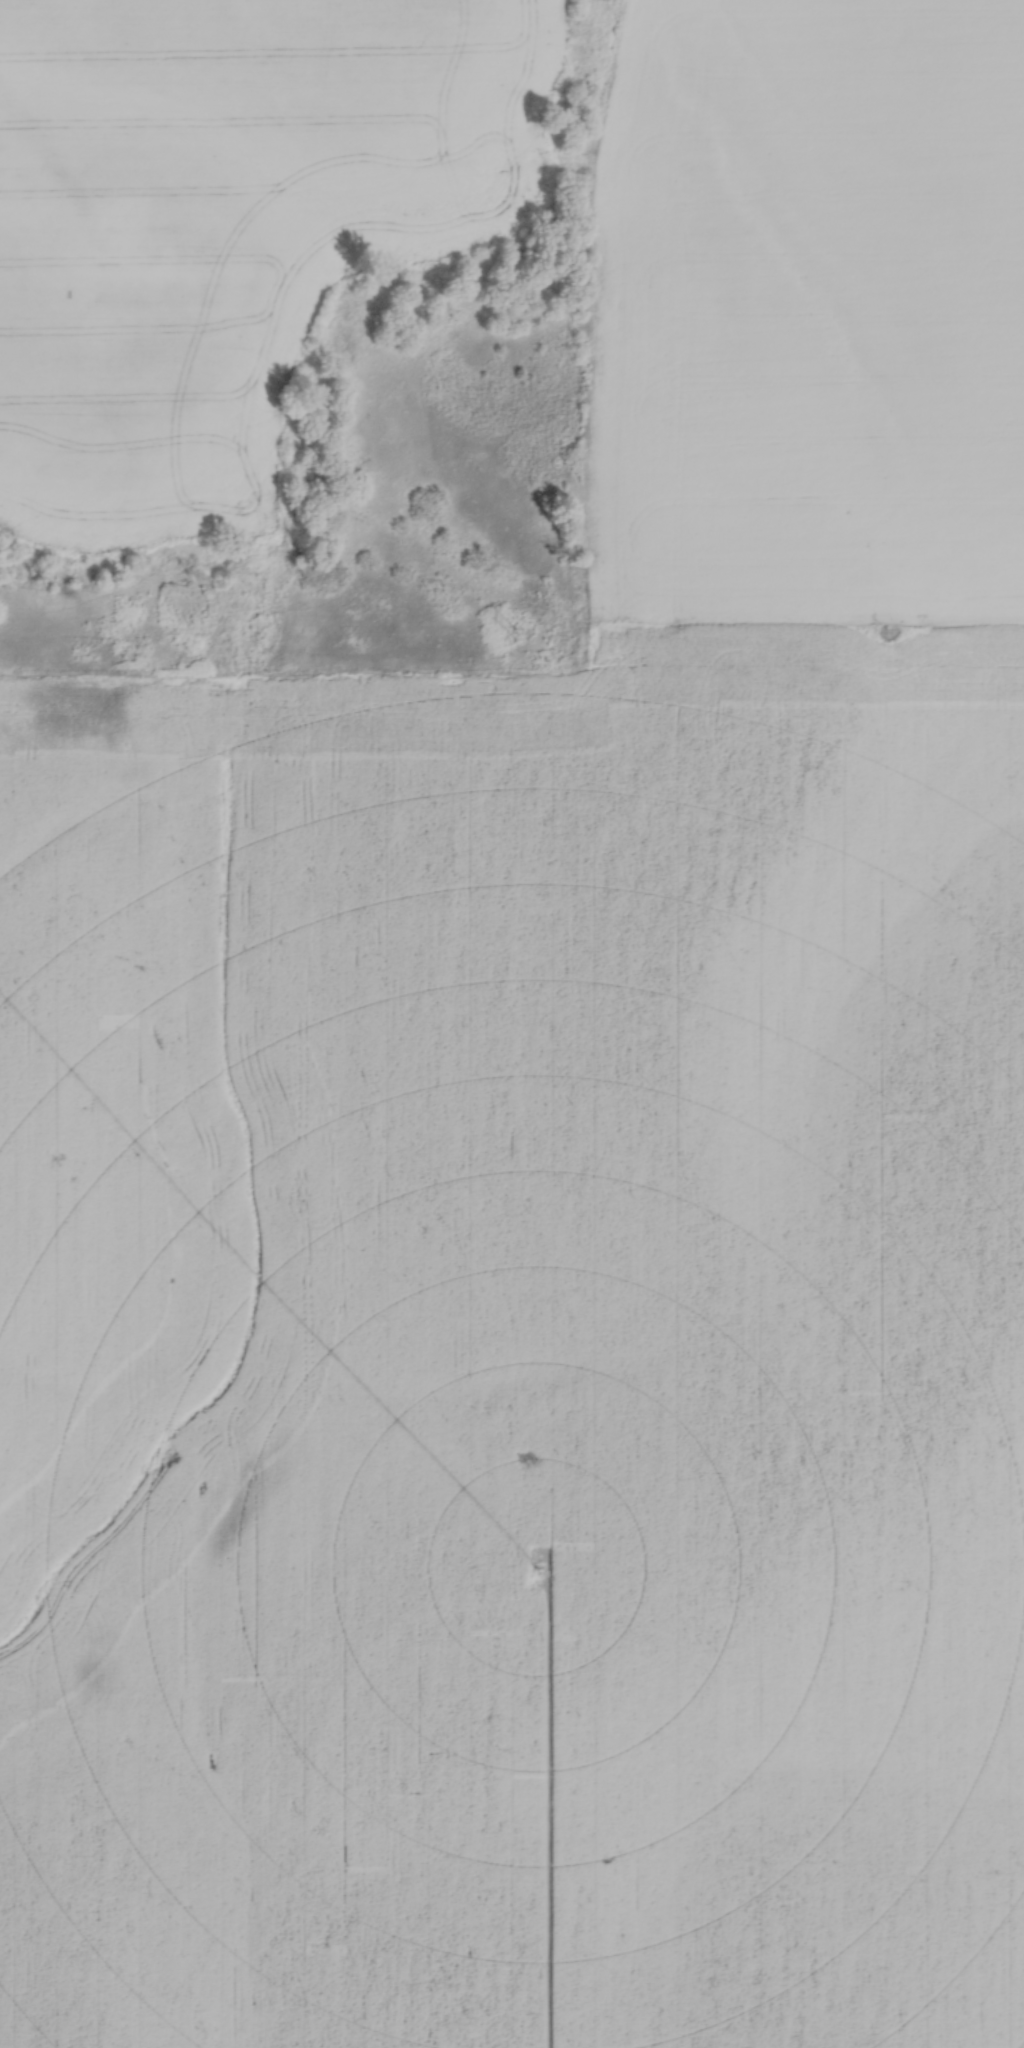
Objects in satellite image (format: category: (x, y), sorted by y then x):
power tower: (514, 630)
power tower: (883, 630)

